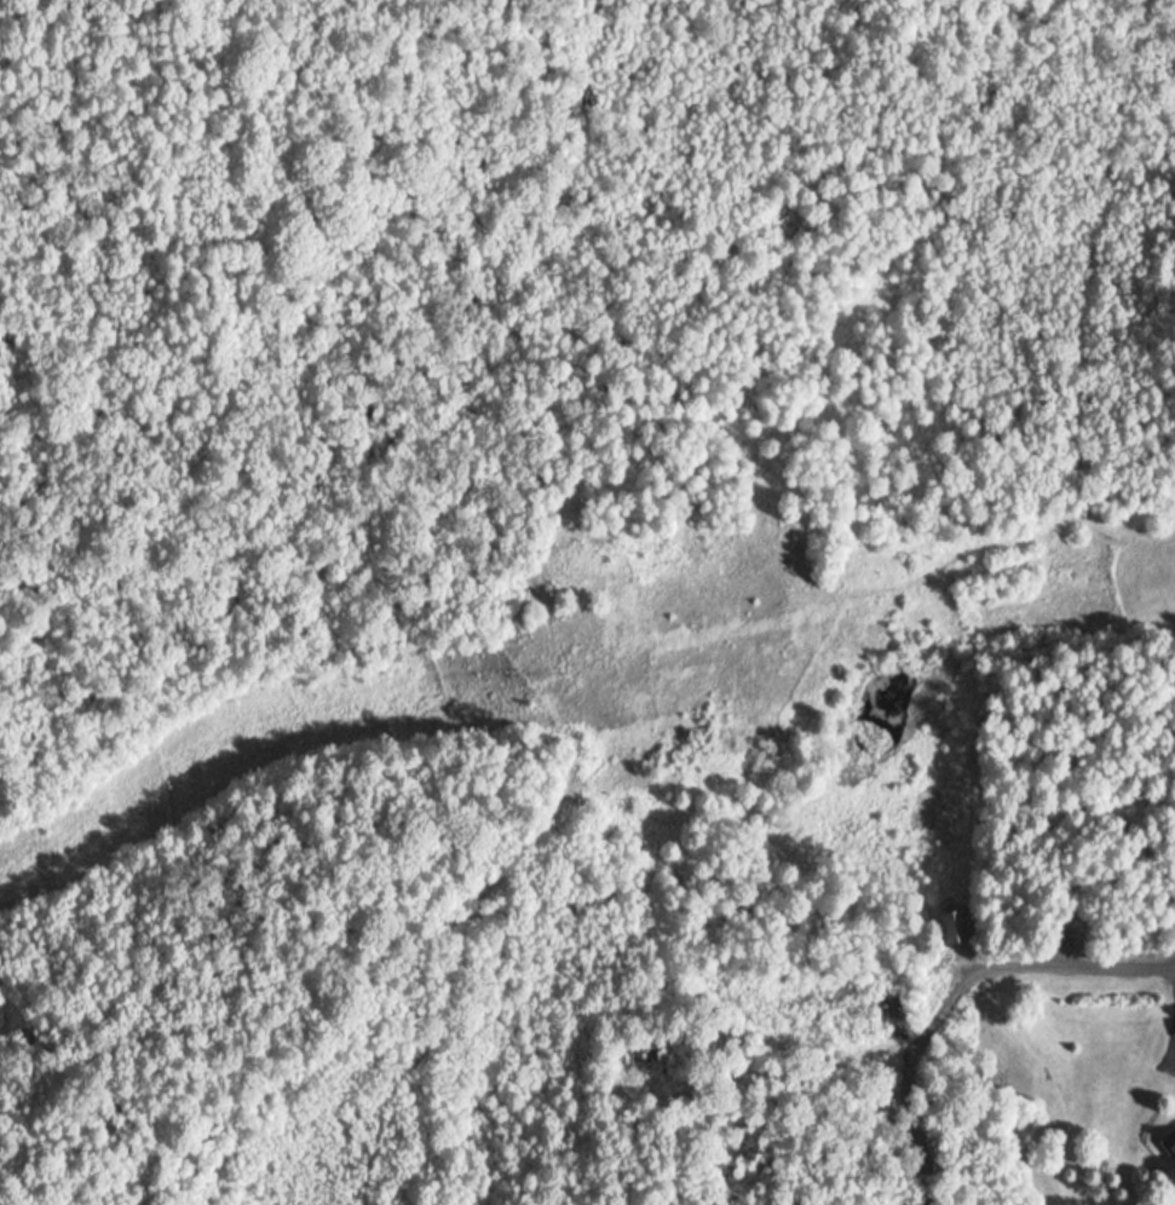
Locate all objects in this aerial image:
building: (952, 926)
road: (1082, 973)
building: (1169, 1149)

